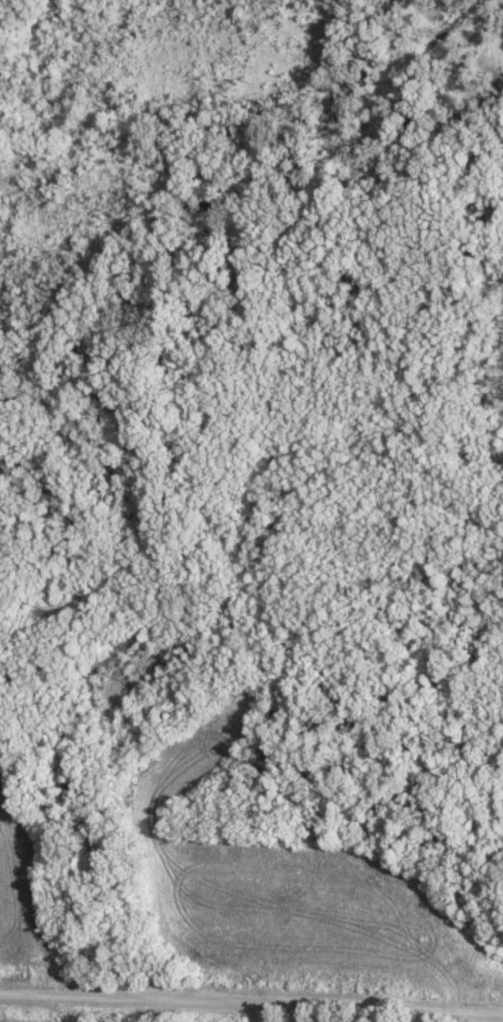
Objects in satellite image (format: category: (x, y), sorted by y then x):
road: (251, 1008)

